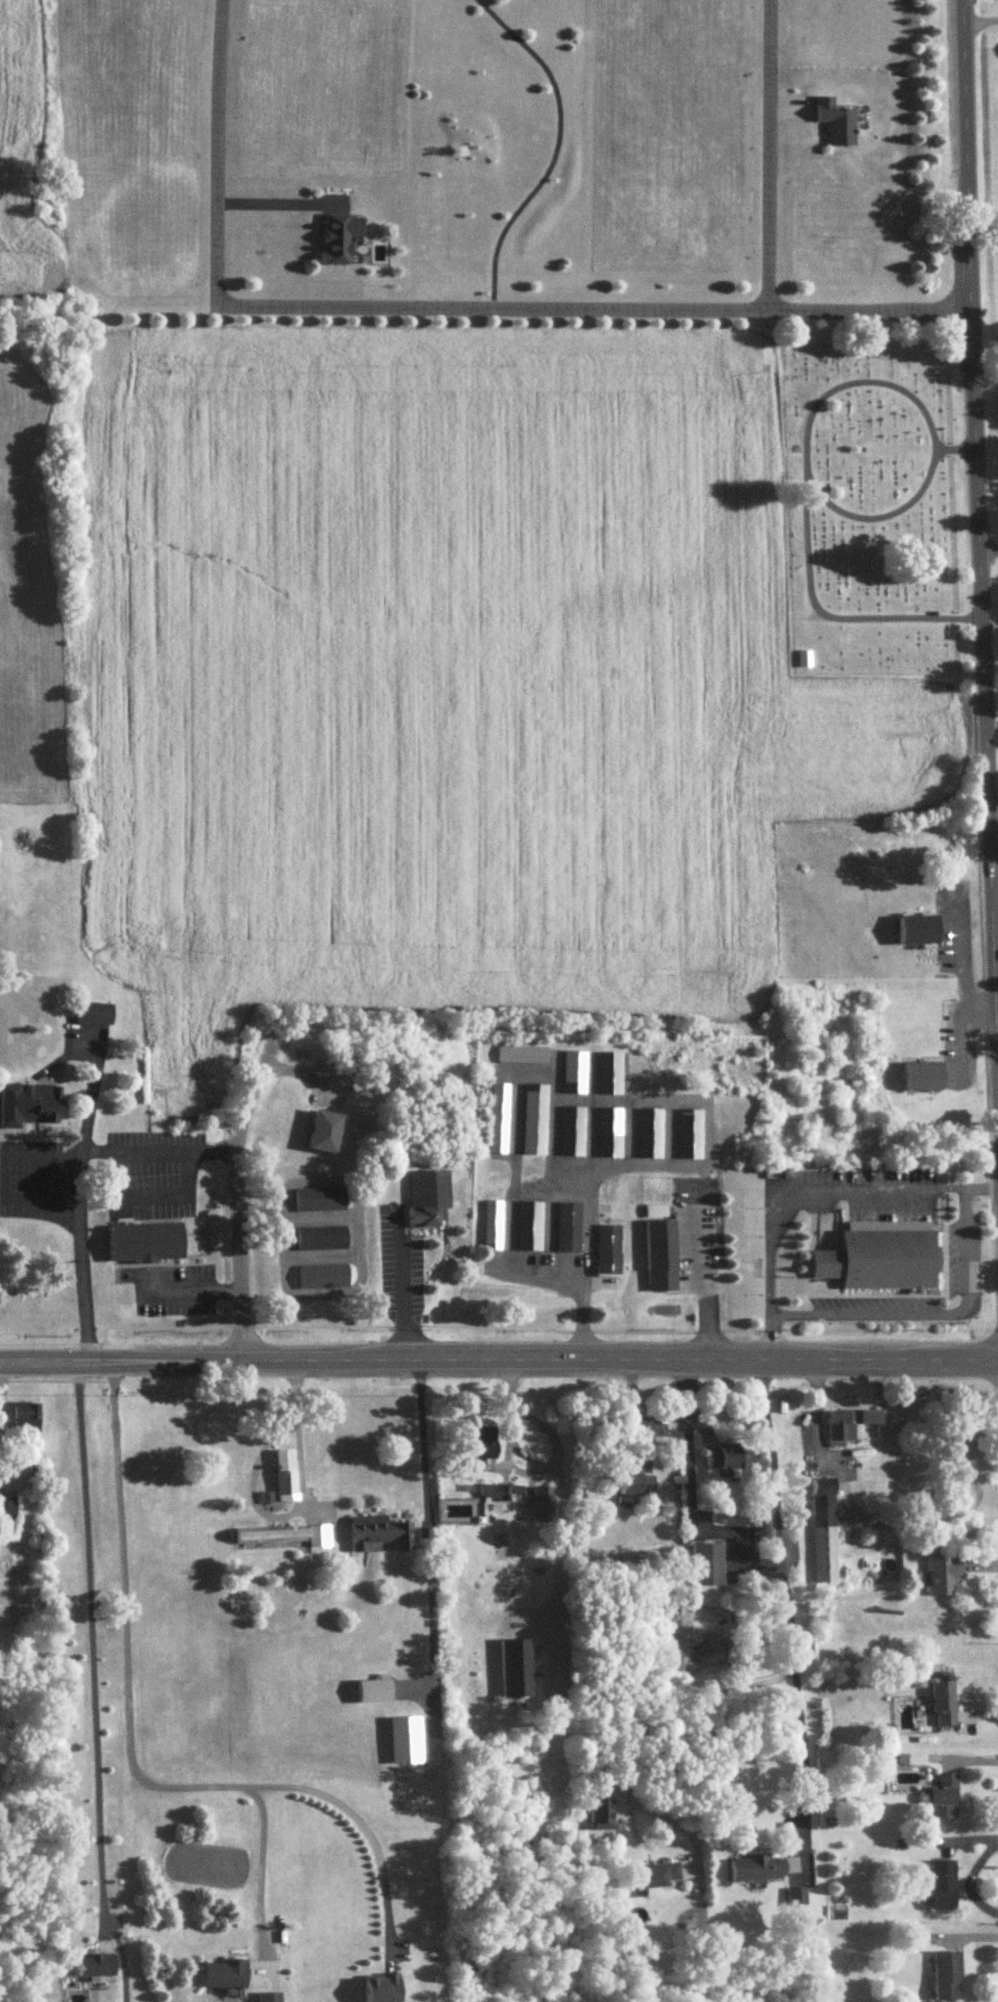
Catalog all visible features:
road: (978, 20)
building: (837, 124)
road: (216, 153)
road: (768, 156)
park: (993, 168)
road: (269, 203)
building: (340, 239)
road: (591, 311)
park: (870, 504)
road: (986, 546)
road: (974, 572)
building: (804, 660)
building: (920, 931)
building: (51, 986)
building: (94, 1014)
building: (519, 1057)
road: (996, 1061)
building: (574, 1072)
building: (610, 1073)
building: (923, 1077)
building: (31, 1105)
building: (498, 1119)
building: (535, 1120)
building: (573, 1132)
building: (325, 1133)
building: (609, 1133)
building: (650, 1133)
building: (690, 1134)
road: (30, 1153)
road: (157, 1154)
road: (799, 1188)
road: (236, 1190)
road: (146, 1195)
road: (39, 1196)
road: (79, 1199)
building: (428, 1199)
building: (320, 1201)
road: (320, 1215)
building: (493, 1226)
building: (530, 1227)
building: (569, 1228)
building: (322, 1240)
building: (147, 1243)
road: (321, 1252)
building: (609, 1252)
building: (662, 1257)
building: (881, 1258)
building: (323, 1278)
road: (398, 1282)
road: (357, 1284)
road: (701, 1285)
road: (194, 1289)
road: (926, 1313)
road: (185, 1357)
road: (684, 1358)
road: (633, 1412)
building: (26, 1417)
building: (853, 1423)
road: (687, 1439)
road: (421, 1441)
building: (486, 1444)
road: (526, 1455)
building: (723, 1457)
building: (285, 1476)
building: (635, 1484)
building: (542, 1505)
road: (849, 1505)
road: (290, 1511)
building: (8, 1516)
building: (823, 1531)
building: (381, 1532)
building: (283, 1536)
building: (707, 1565)
building: (943, 1578)
road: (785, 1599)
building: (516, 1669)
road: (91, 1681)
building: (944, 1705)
road: (661, 1714)
building: (405, 1741)
road: (125, 1750)
building: (943, 1799)
building: (757, 1869)
road: (257, 1870)
building: (658, 1876)
road: (970, 1883)
building: (944, 1886)
building: (795, 1896)
building: (95, 1966)
building: (226, 1975)
building: (947, 1978)
building: (382, 1988)
building: (269, 1997)

